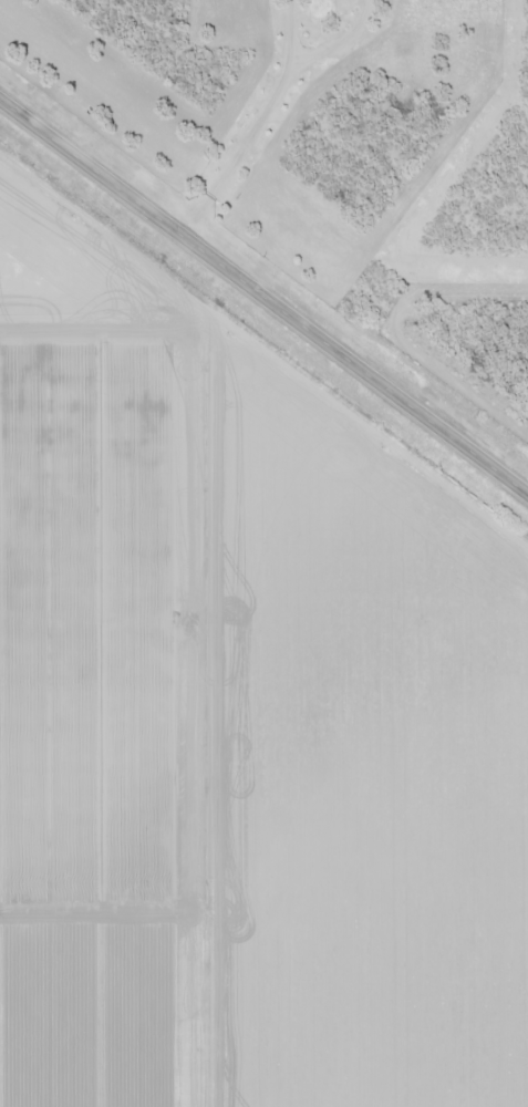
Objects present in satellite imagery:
road: (263, 289)

